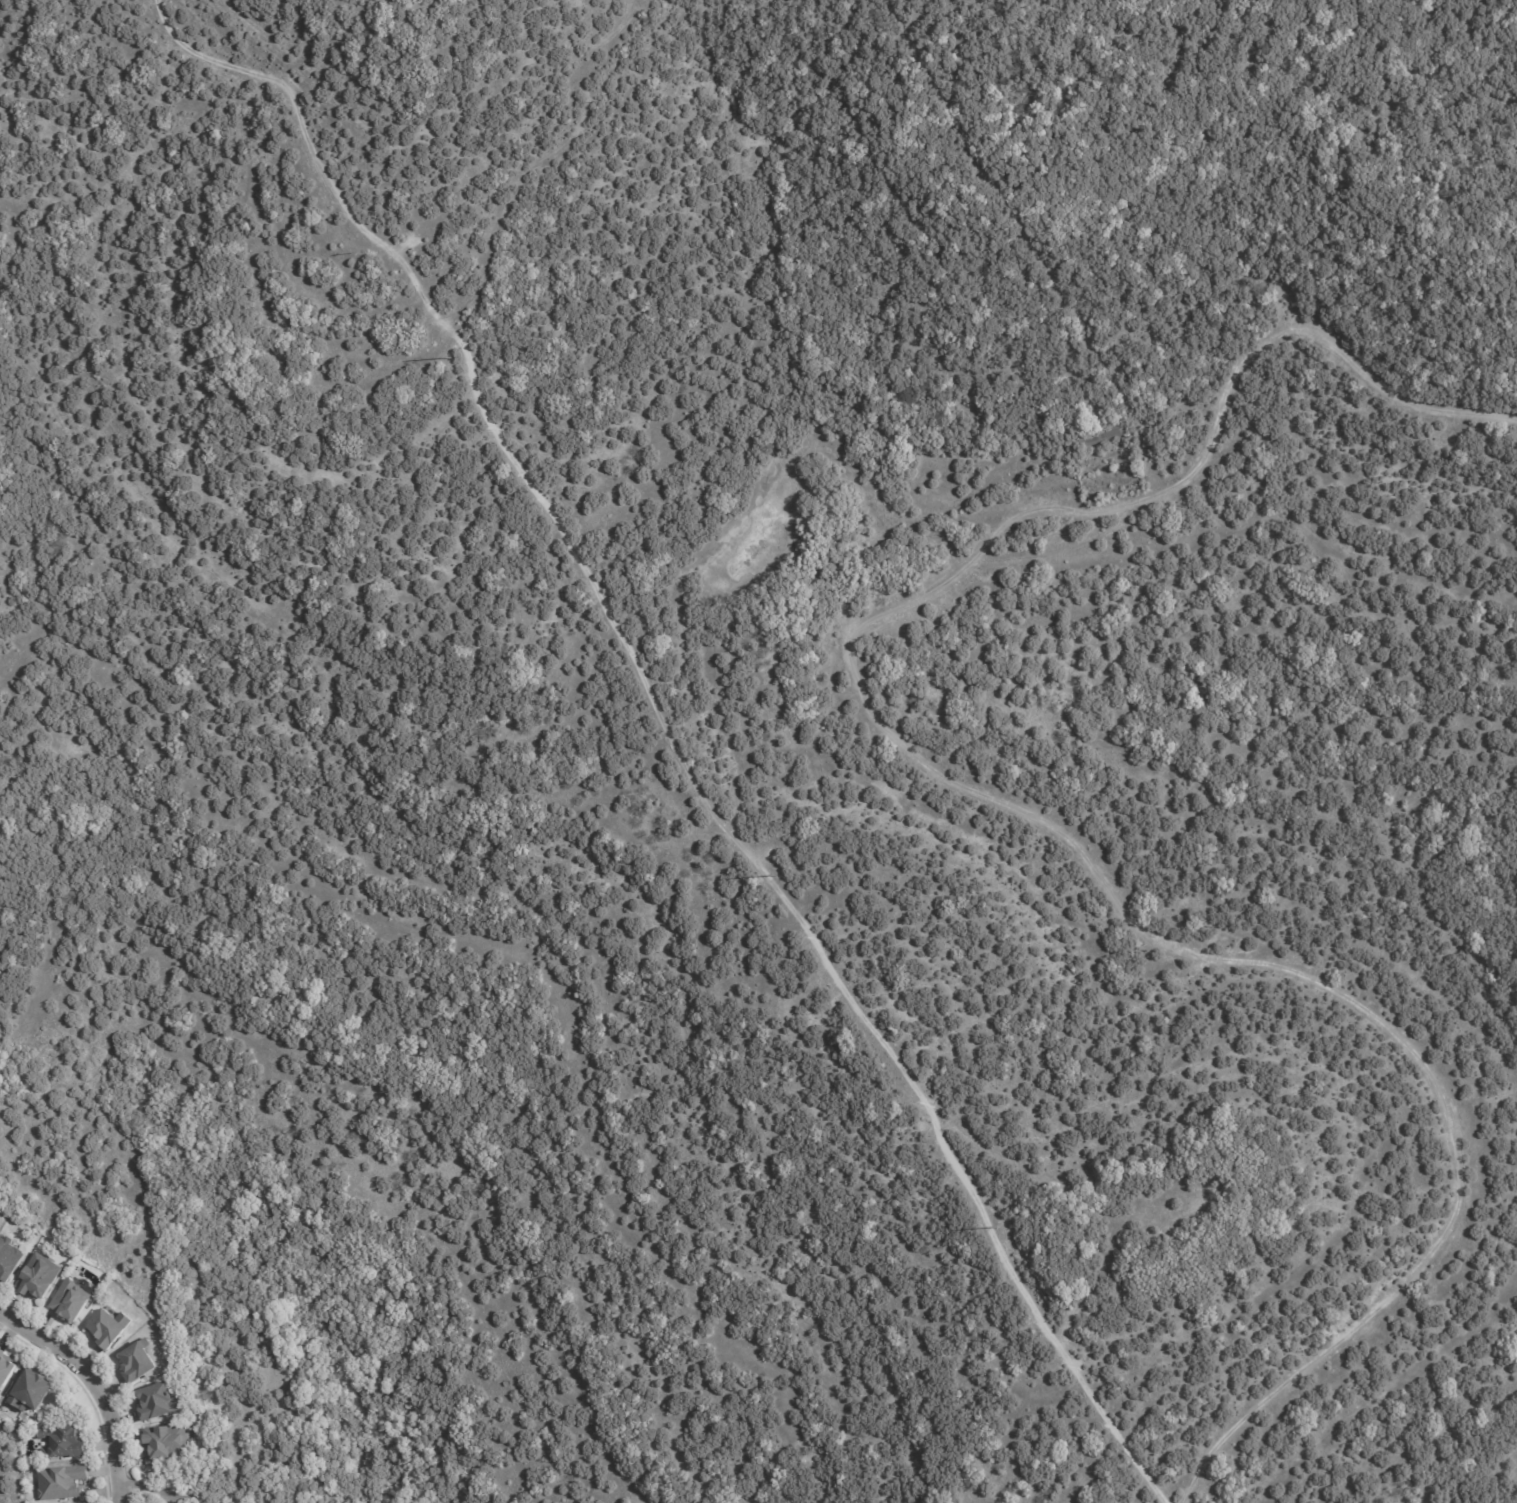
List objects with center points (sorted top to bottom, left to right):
power tower: (451, 358)
building: (1093, 438)
road: (1002, 799)
power tower: (774, 875)
power tower: (994, 1226)
building: (11, 1260)
building: (40, 1278)
building: (72, 1302)
building: (109, 1327)
building: (139, 1362)
building: (6, 1371)
road: (91, 1391)
building: (33, 1392)
building: (160, 1403)
building: (65, 1443)
building: (169, 1444)
building: (63, 1483)

